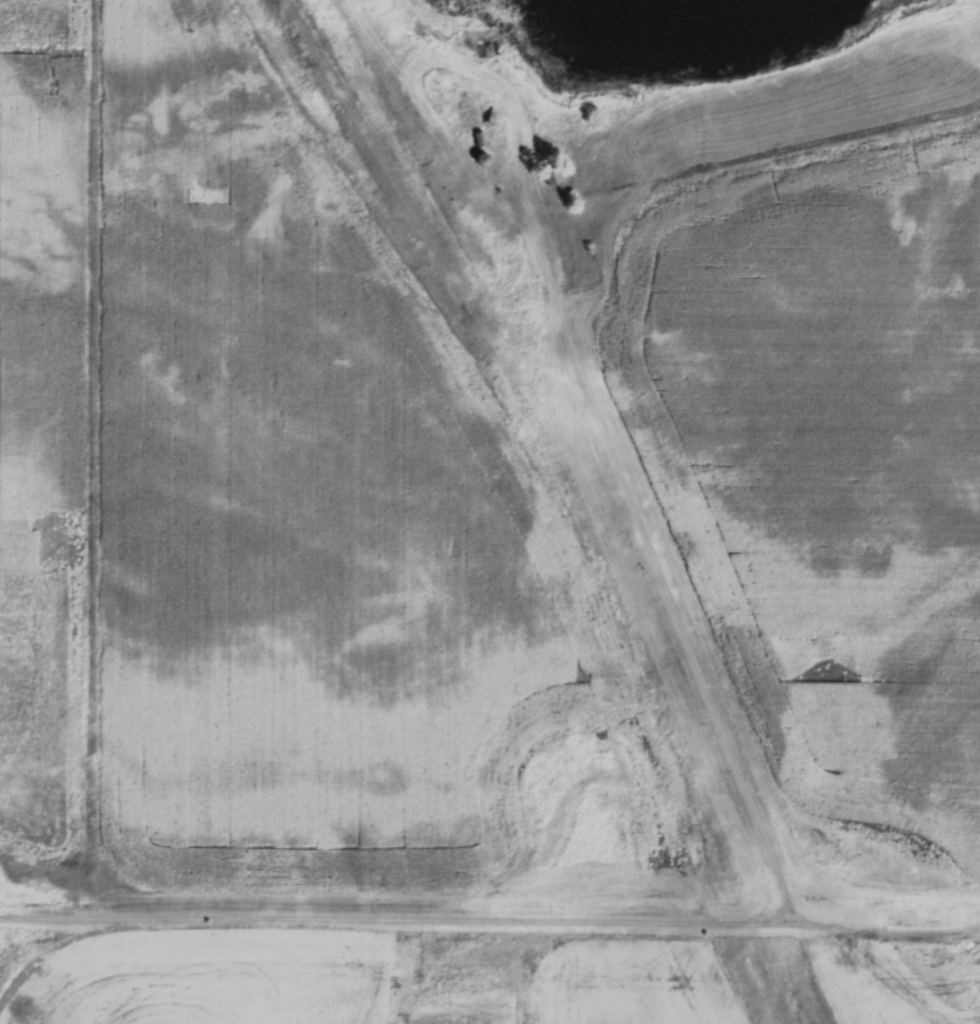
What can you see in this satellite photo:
building: (491, 115)
building: (481, 138)
building: (482, 158)
road: (671, 562)
road: (489, 917)

